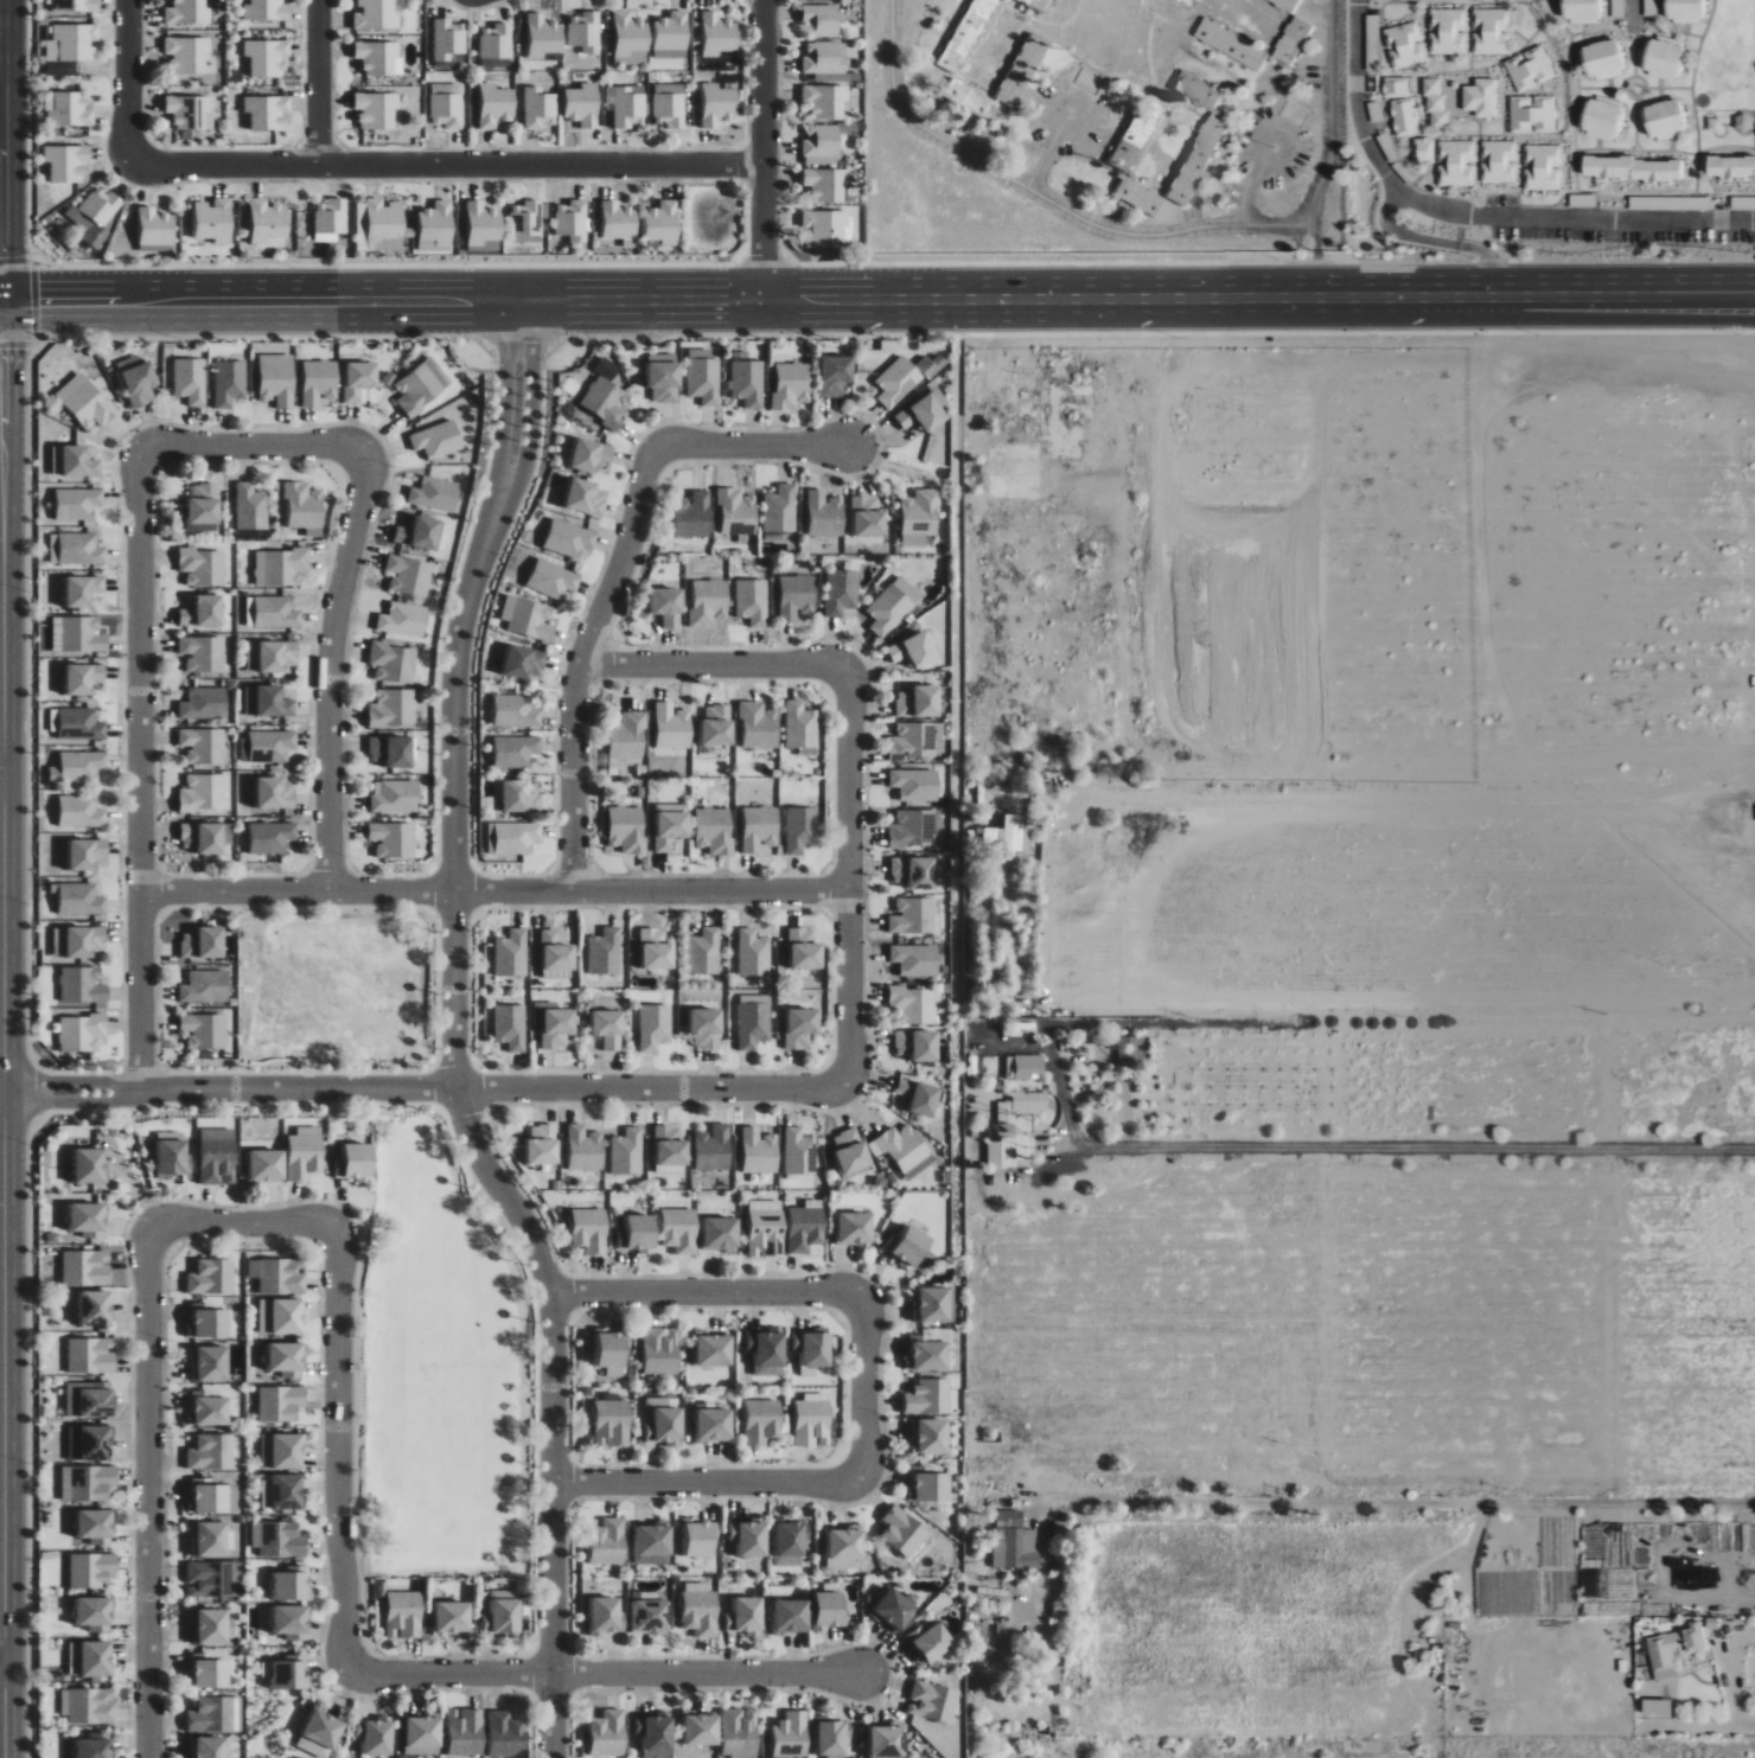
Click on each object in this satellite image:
building: (1176, 0)
building: (1419, 0)
building: (1034, 4)
building: (1285, 4)
building: (74, 5)
building: (267, 11)
building: (1683, 11)
building: (1579, 12)
road: (1630, 12)
building: (187, 13)
building: (377, 14)
building: (816, 20)
building: (585, 31)
building: (672, 32)
building: (1448, 32)
building: (1489, 33)
building: (631, 34)
building: (719, 34)
building: (544, 36)
building: (962, 36)
building: (448, 41)
building: (496, 41)
building: (1291, 41)
building: (1372, 44)
building: (72, 46)
building: (1230, 46)
building: (1405, 46)
building: (187, 55)
building: (268, 57)
building: (381, 58)
building: (822, 58)
building: (1661, 60)
building: (1600, 62)
building: (1019, 68)
building: (1529, 69)
road: (127, 79)
road: (318, 82)
building: (1396, 88)
building: (964, 97)
building: (1481, 98)
building: (1443, 100)
building: (827, 101)
building: (583, 104)
building: (626, 104)
building: (719, 104)
building: (496, 106)
building: (669, 106)
building: (446, 107)
building: (540, 108)
building: (68, 109)
building: (377, 109)
building: (191, 111)
building: (268, 111)
building: (1374, 113)
road: (1330, 115)
building: (1532, 115)
building: (1405, 117)
building: (1598, 119)
building: (1661, 121)
building: (1132, 135)
building: (1196, 139)
building: (822, 141)
road: (1048, 141)
road: (762, 148)
road: (4, 151)
building: (1425, 151)
building: (68, 162)
building: (1499, 162)
building: (1456, 164)
road: (442, 165)
road: (1269, 167)
building: (1542, 168)
building: (1632, 170)
building: (1730, 170)
building: (825, 184)
road: (1036, 196)
building: (1136, 197)
building: (97, 210)
road: (1473, 215)
building: (331, 219)
building: (525, 219)
building: (215, 220)
building: (268, 220)
building: (573, 220)
building: (619, 220)
building: (483, 223)
building: (663, 223)
building: (384, 224)
building: (155, 226)
building: (435, 228)
building: (824, 228)
road: (1316, 256)
road: (1297, 257)
traffic signals: (6, 258)
road: (1130, 292)
road: (272, 300)
road: (2, 301)
road: (21, 301)
traffic signals: (38, 301)
traffic signals: (4, 350)
building: (835, 376)
building: (704, 377)
building: (277, 379)
building: (359, 379)
building: (139, 381)
building: (191, 381)
building: (320, 382)
building: (665, 382)
building: (747, 382)
building: (896, 382)
building: (230, 383)
building: (791, 385)
building: (422, 386)
building: (87, 401)
building: (607, 402)
road: (506, 410)
building: (923, 414)
road: (530, 415)
building: (439, 440)
road: (757, 446)
road: (254, 447)
building: (591, 455)
building: (79, 462)
building: (436, 494)
building: (587, 498)
building: (78, 503)
building: (305, 505)
building: (204, 507)
building: (251, 507)
building: (780, 509)
building: (736, 512)
building: (825, 514)
building: (694, 516)
building: (868, 517)
building: (920, 517)
building: (420, 533)
building: (569, 538)
building: (76, 549)
building: (204, 567)
building: (285, 567)
building: (409, 575)
building: (553, 578)
building: (843, 589)
building: (84, 590)
building: (797, 597)
building: (752, 601)
building: (709, 602)
building: (893, 606)
building: (669, 607)
building: (272, 612)
building: (203, 613)
building: (530, 618)
building: (404, 620)
building: (83, 635)
building: (915, 650)
building: (204, 653)
building: (272, 657)
road: (580, 660)
building: (394, 663)
building: (524, 663)
road: (711, 665)
road: (330, 669)
building: (84, 678)
building: (268, 702)
building: (919, 702)
building: (205, 703)
building: (393, 708)
building: (516, 711)
building: (81, 724)
building: (717, 725)
building: (759, 725)
building: (800, 725)
building: (674, 727)
building: (630, 737)
building: (913, 742)
building: (203, 746)
building: (268, 746)
building: (516, 750)
building: (391, 752)
building: (78, 767)
road: (1, 768)
road: (140, 769)
building: (915, 785)
road: (1, 788)
building: (203, 793)
building: (275, 793)
building: (396, 797)
building: (516, 797)
building: (81, 812)
building: (671, 825)
building: (627, 829)
building: (911, 829)
building: (715, 830)
building: (760, 830)
building: (800, 830)
building: (1009, 833)
building: (204, 838)
building: (272, 838)
building: (513, 838)
building: (394, 839)
building: (87, 854)
building: (907, 871)
road: (850, 877)
road: (494, 891)
crop: (1360, 896)
building: (81, 899)
building: (910, 915)
building: (79, 940)
building: (204, 942)
building: (805, 948)
building: (657, 950)
building: (704, 951)
building: (512, 952)
building: (606, 952)
building: (753, 952)
building: (557, 955)
building: (912, 959)
building: (83, 984)
building: (205, 986)
building: (910, 1004)
building: (554, 1023)
building: (754, 1024)
building: (510, 1025)
building: (655, 1025)
building: (707, 1027)
building: (802, 1027)
building: (608, 1028)
road: (4, 1029)
building: (204, 1030)
building: (82, 1031)
building: (911, 1044)
building: (1124, 1049)
building: (1025, 1066)
road: (71, 1082)
road: (492, 1089)
building: (912, 1097)
road: (72, 1104)
building: (1002, 1132)
building: (543, 1144)
road: (474, 1145)
building: (671, 1146)
building: (585, 1148)
building: (714, 1148)
road: (1405, 1149)
building: (851, 1150)
building: (902, 1150)
building: (627, 1151)
building: (759, 1151)
building: (799, 1151)
building: (305, 1152)
building: (217, 1156)
building: (356, 1162)
building: (90, 1164)
building: (267, 1164)
building: (89, 1219)
road: (243, 1225)
building: (766, 1227)
building: (806, 1228)
building: (856, 1228)
building: (591, 1229)
building: (681, 1229)
building: (639, 1233)
building: (721, 1233)
building: (908, 1245)
building: (87, 1267)
building: (276, 1276)
building: (212, 1277)
road: (706, 1293)
building: (933, 1304)
building: (96, 1308)
building: (281, 1316)
building: (210, 1322)
building: (813, 1347)
building: (715, 1349)
building: (660, 1350)
building: (611, 1351)
building: (767, 1351)
building: (92, 1355)
building: (288, 1359)
building: (210, 1363)
building: (813, 1372)
road: (864, 1388)
building: (1297, 1388)
building: (930, 1396)
building: (90, 1399)
building: (281, 1402)
building: (209, 1407)
building: (813, 1420)
building: (663, 1421)
building: (762, 1421)
building: (613, 1423)
building: (932, 1434)
building: (97, 1443)
road: (338, 1449)
building: (283, 1450)
building: (212, 1452)
building: (88, 1482)
road: (707, 1484)
building: (928, 1484)
building: (283, 1491)
road: (149, 1492)
building: (209, 1497)
road: (1393, 1504)
building: (97, 1526)
building: (904, 1530)
building: (749, 1536)
building: (698, 1538)
building: (213, 1539)
building: (279, 1540)
building: (610, 1541)
building: (790, 1542)
building: (1016, 1542)
building: (653, 1543)
building: (845, 1547)
crop: (1598, 1558)
building: (92, 1570)
building: (1693, 1574)
building: (1589, 1578)
building: (293, 1583)
building: (700, 1609)
building: (831, 1609)
building: (895, 1610)
building: (503, 1612)
building: (96, 1613)
building: (607, 1613)
building: (404, 1615)
building: (650, 1616)
building: (747, 1616)
building: (792, 1616)
building: (453, 1617)
building: (293, 1622)
crop: (1259, 1625)
building: (211, 1626)
building: (931, 1642)
building: (1678, 1647)
road: (2, 1655)
building: (91, 1657)
building: (291, 1671)
building: (211, 1673)
road: (2, 1674)
road: (606, 1675)
building: (933, 1701)
building: (89, 1705)
building: (216, 1715)
road: (1703, 1728)
building: (702, 1730)
building: (466, 1732)
building: (321, 1733)
building: (608, 1733)
building: (740, 1733)
building: (377, 1734)
building: (508, 1734)
building: (656, 1734)
building: (792, 1734)
building: (423, 1735)
building: (836, 1737)
building: (888, 1741)
building: (96, 1745)
building: (209, 1747)

